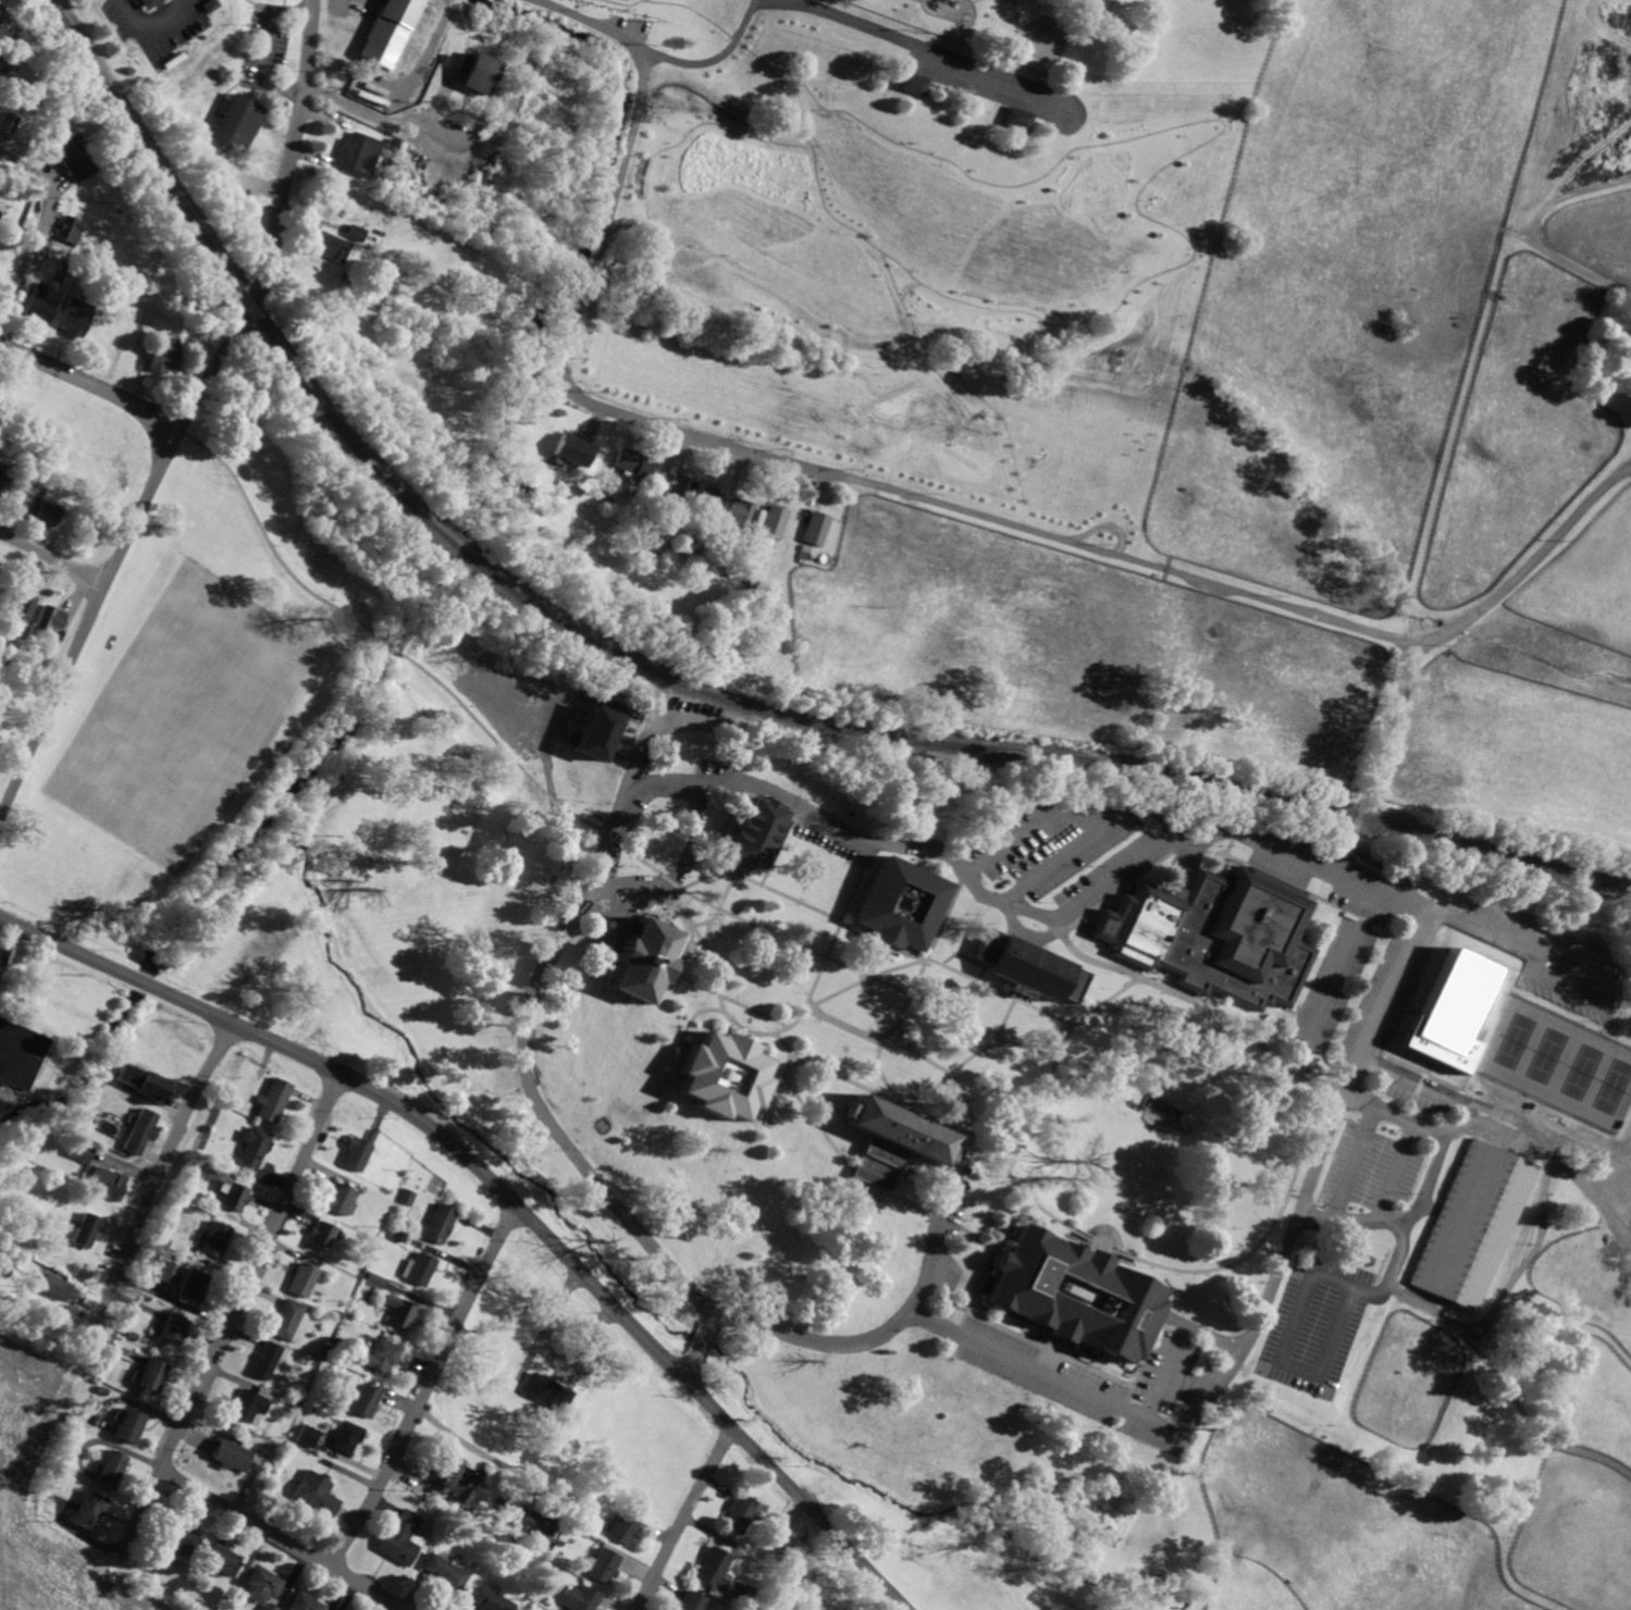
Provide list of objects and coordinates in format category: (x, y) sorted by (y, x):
road: (756, 1)
road: (976, 1)
building: (146, 4)
road: (704, 14)
road: (1016, 14)
road: (1091, 14)
road: (594, 23)
building: (4, 28)
building: (388, 32)
road: (159, 35)
road: (925, 48)
road: (716, 60)
building: (478, 72)
building: (916, 84)
road: (374, 116)
building: (1021, 119)
building: (8, 122)
building: (237, 122)
road: (299, 138)
railway: (146, 146)
building: (360, 154)
building: (75, 157)
road: (1147, 216)
building: (73, 225)
road: (40, 230)
building: (357, 233)
building: (333, 246)
building: (40, 306)
railway: (250, 307)
building: (76, 318)
building: (166, 358)
building: (1629, 362)
road: (92, 387)
road: (1107, 409)
road: (764, 418)
road: (753, 425)
building: (574, 450)
building: (635, 466)
building: (2, 479)
building: (682, 488)
building: (714, 499)
road: (960, 509)
building: (37, 510)
building: (742, 511)
building: (776, 522)
road: (1109, 525)
building: (817, 529)
road: (127, 545)
road: (53, 559)
building: (24, 606)
building: (50, 620)
road: (401, 649)
building: (601, 727)
railway: (880, 731)
road: (660, 780)
railway: (1243, 787)
road: (1366, 788)
road: (762, 793)
road: (1073, 817)
building: (754, 830)
road: (713, 864)
road: (1046, 867)
building: (903, 902)
road: (718, 908)
road: (764, 928)
road: (839, 929)
building: (1216, 932)
road: (1502, 939)
building: (8, 954)
building: (645, 956)
building: (1026, 963)
road: (898, 966)
road: (918, 979)
road: (873, 995)
road: (736, 1002)
road: (1323, 1003)
road: (1036, 1005)
road: (818, 1011)
road: (727, 1014)
road: (1009, 1015)
road: (986, 1026)
park: (1516, 1041)
road: (1361, 1046)
road: (984, 1050)
building: (20, 1052)
park: (1547, 1055)
park: (1583, 1070)
building: (728, 1074)
road: (885, 1077)
building: (143, 1080)
park: (1614, 1087)
road: (876, 1091)
building: (273, 1099)
road: (1507, 1114)
road: (819, 1123)
road: (1493, 1127)
building: (141, 1130)
building: (897, 1139)
building: (250, 1149)
building: (81, 1150)
building: (358, 1150)
road: (993, 1151)
road: (1354, 1161)
road: (1394, 1171)
road: (159, 1174)
road: (1426, 1178)
building: (109, 1181)
road: (505, 1193)
building: (231, 1194)
building: (407, 1197)
road: (610, 1198)
building: (338, 1199)
building: (441, 1223)
building: (1475, 1225)
building: (87, 1229)
building: (320, 1235)
building: (213, 1238)
road: (1126, 1253)
building: (419, 1268)
road: (987, 1268)
building: (168, 1272)
building: (301, 1279)
building: (58, 1287)
building: (190, 1287)
building: (1078, 1293)
road: (234, 1311)
building: (400, 1311)
building: (285, 1318)
building: (173, 1328)
road: (951, 1328)
road: (1208, 1332)
road: (702, 1343)
building: (378, 1355)
road: (548, 1355)
building: (264, 1360)
building: (152, 1374)
road: (1165, 1377)
road: (427, 1386)
building: (547, 1391)
building: (364, 1399)
building: (250, 1403)
building: (131, 1425)
building: (307, 1435)
building: (346, 1436)
road: (481, 1453)
building: (233, 1456)
building: (112, 1469)
building: (459, 1481)
building: (316, 1493)
building: (91, 1510)
building: (740, 1513)
road: (682, 1514)
building: (623, 1525)
building: (530, 1526)
building: (183, 1537)
building: (401, 1537)
road: (284, 1538)
building: (224, 1559)
building: (601, 1564)
building: (714, 1569)
building: (445, 1571)
building: (262, 1585)
building: (580, 1599)
building: (491, 1600)
building: (692, 1601)
building: (306, 1602)
building: (271, 1607)

